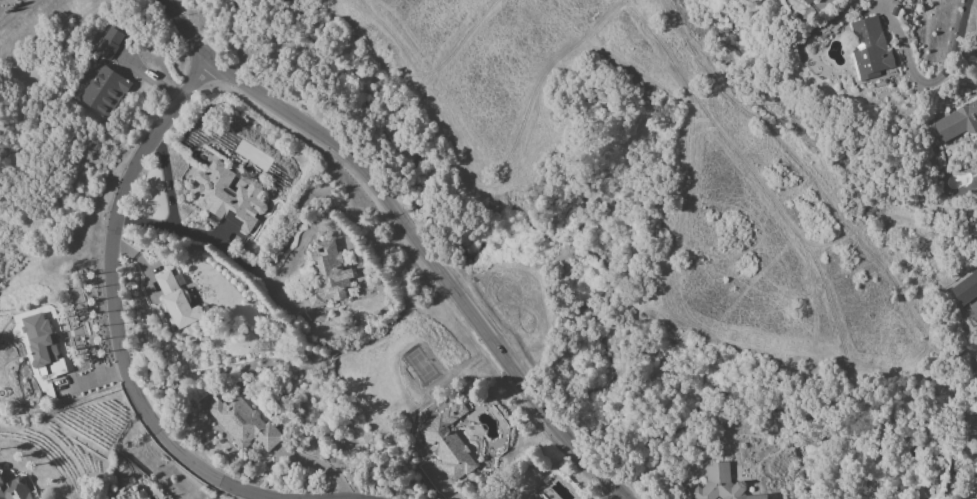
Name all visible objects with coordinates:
building: (806, 1)
road: (26, 14)
building: (869, 48)
road: (955, 51)
building: (100, 79)
building: (958, 123)
road: (166, 182)
building: (229, 196)
road: (409, 233)
road: (208, 243)
building: (327, 275)
building: (177, 305)
road: (113, 309)
building: (40, 340)
building: (244, 424)
building: (721, 484)
building: (974, 498)

